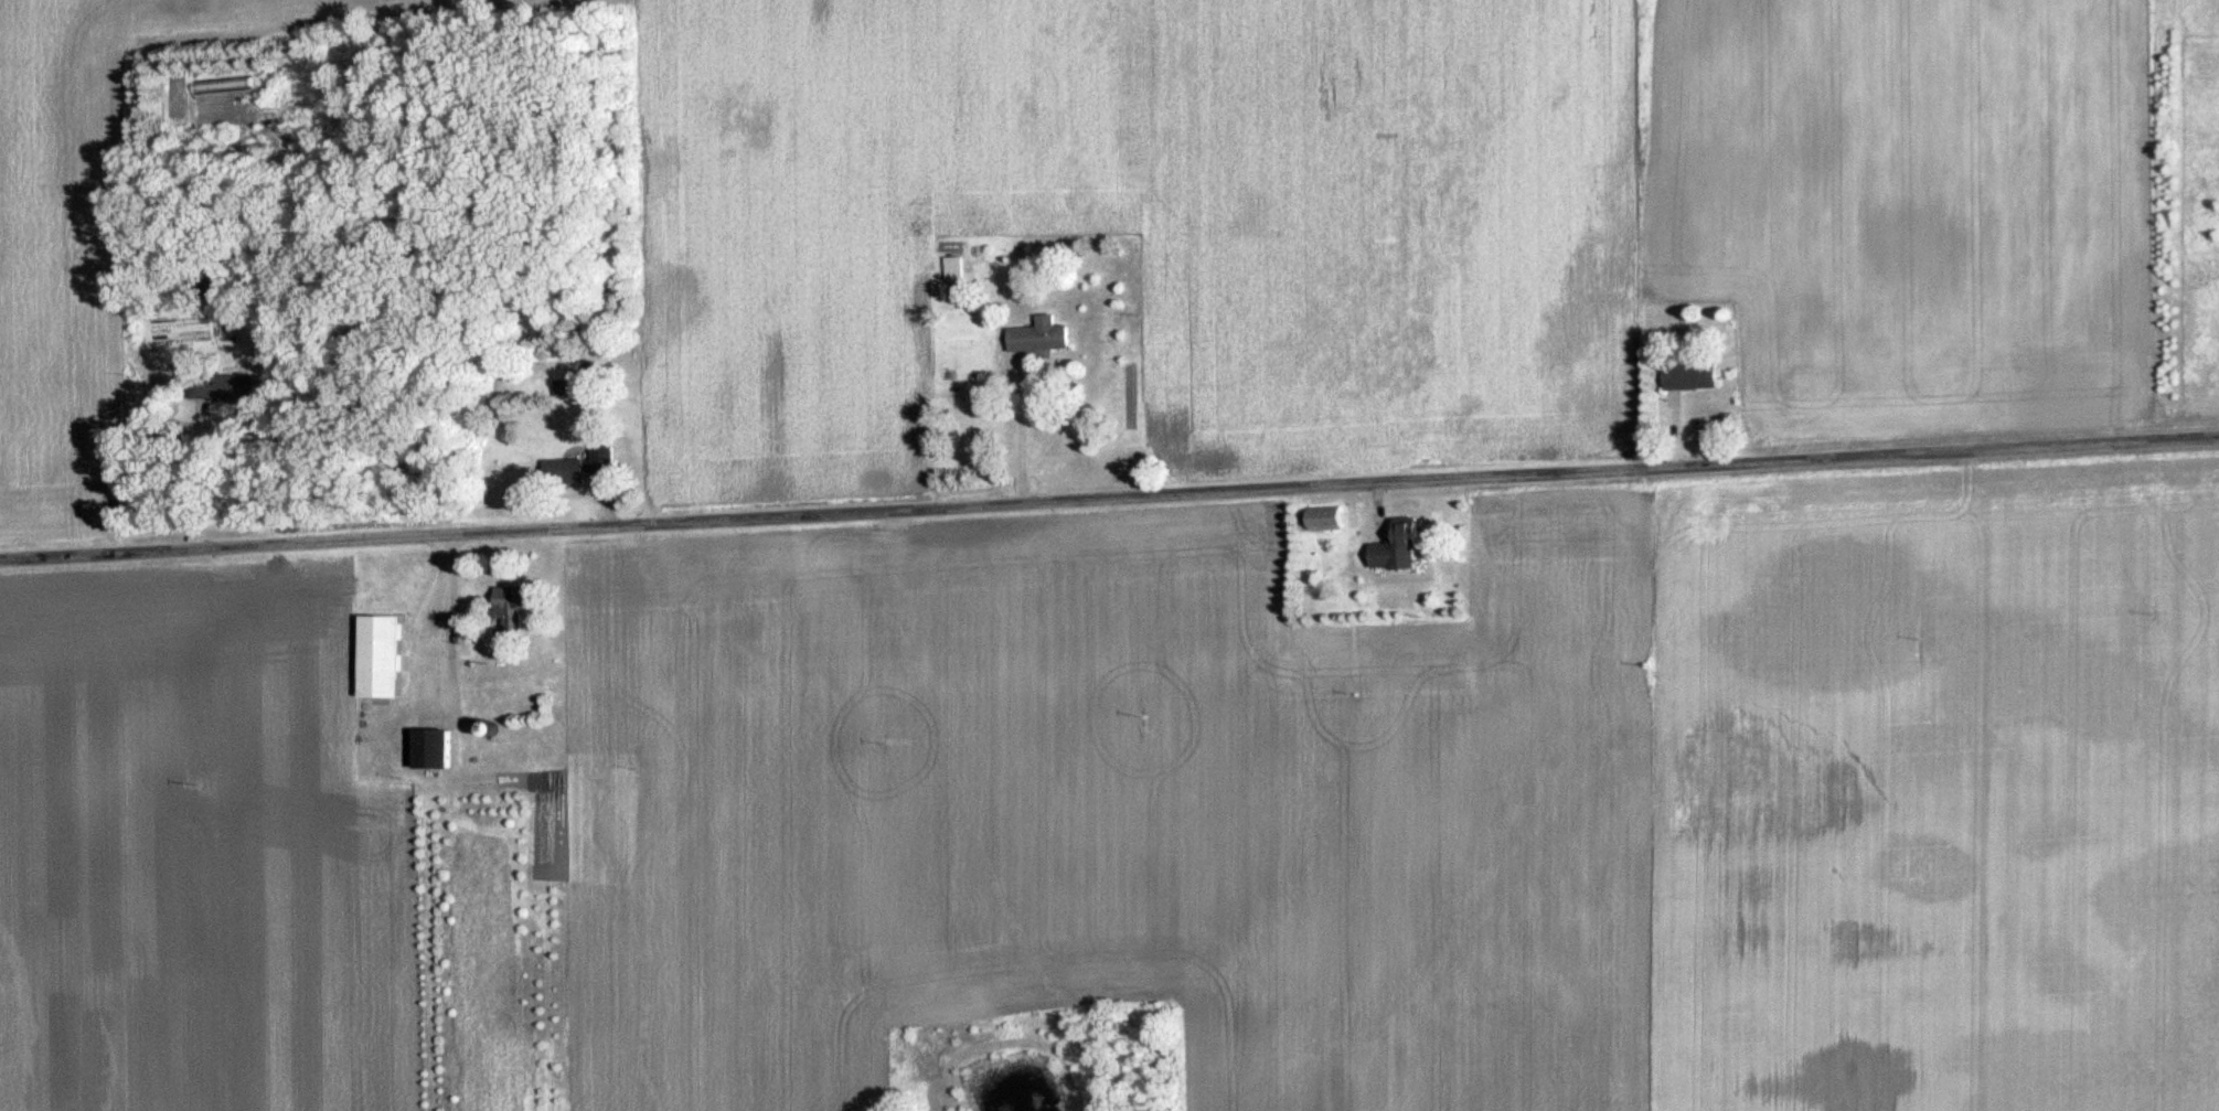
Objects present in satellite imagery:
building: (953, 267)
building: (1041, 335)
building: (1690, 376)
building: (224, 386)
road: (1014, 436)
building: (583, 466)
road: (205, 477)
road: (1109, 500)
building: (1324, 517)
building: (1399, 547)
building: (512, 605)
building: (381, 655)
building: (433, 748)

